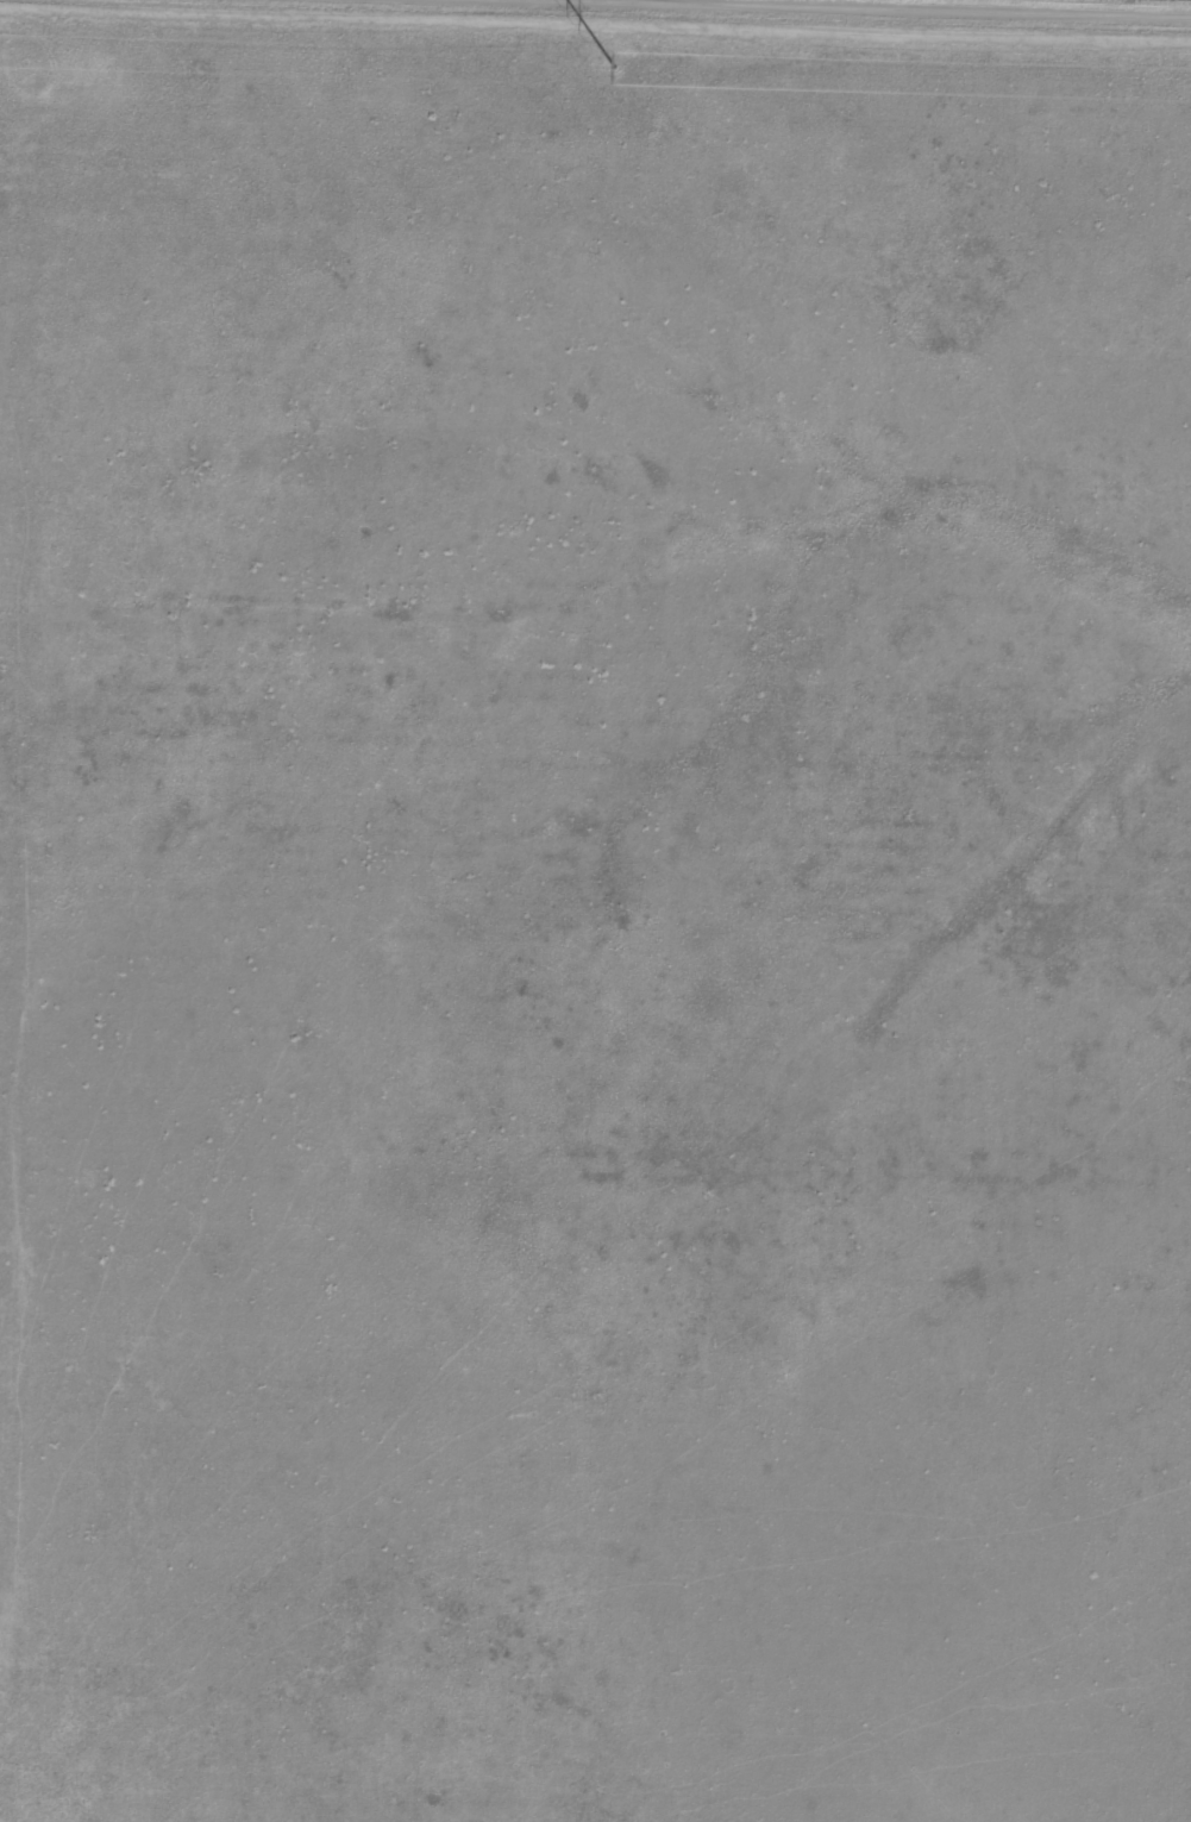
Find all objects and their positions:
road: (997, 5)
power tower: (616, 64)

